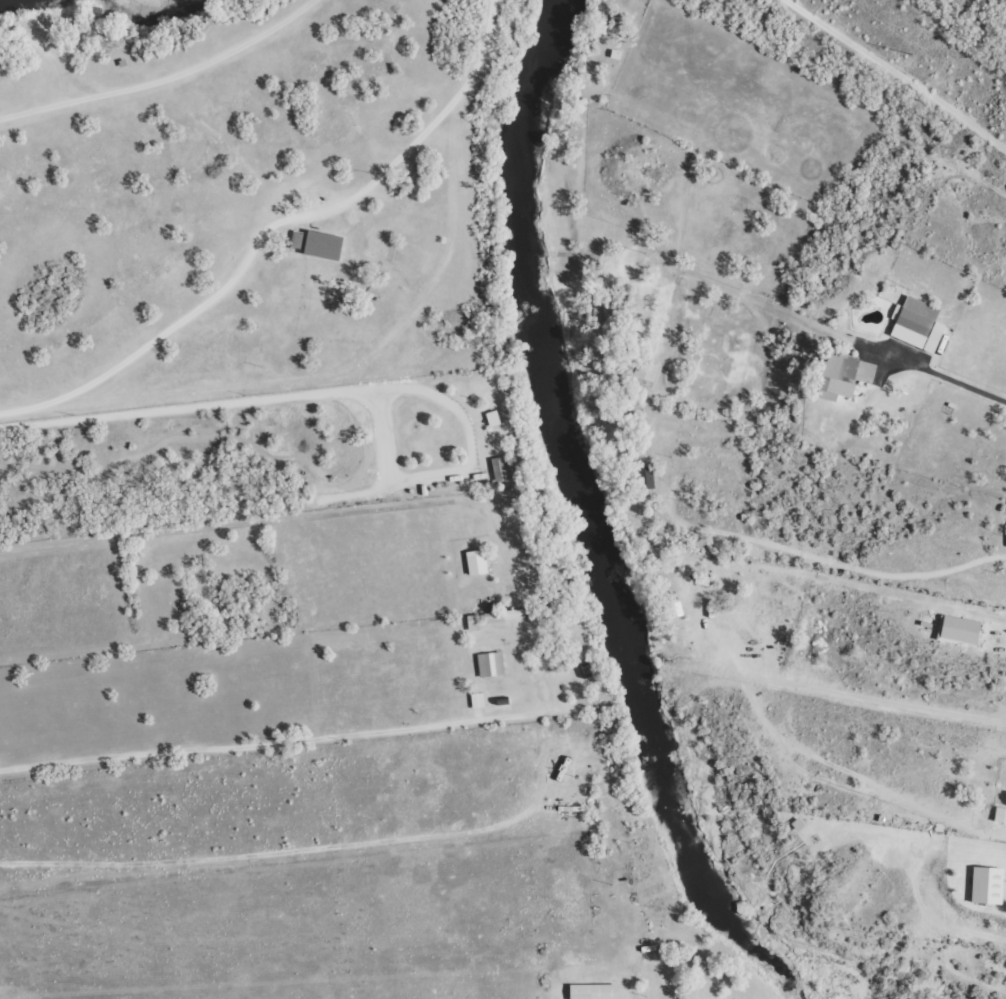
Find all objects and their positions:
river: (151, 19)
building: (317, 244)
building: (917, 324)
road: (393, 361)
building: (645, 372)
building: (865, 372)
building: (838, 376)
building: (493, 418)
building: (502, 468)
building: (476, 562)
building: (675, 609)
building: (503, 615)
building: (473, 622)
building: (490, 664)
building: (477, 700)
building: (1000, 815)
building: (797, 824)
building: (987, 886)
building: (593, 991)

